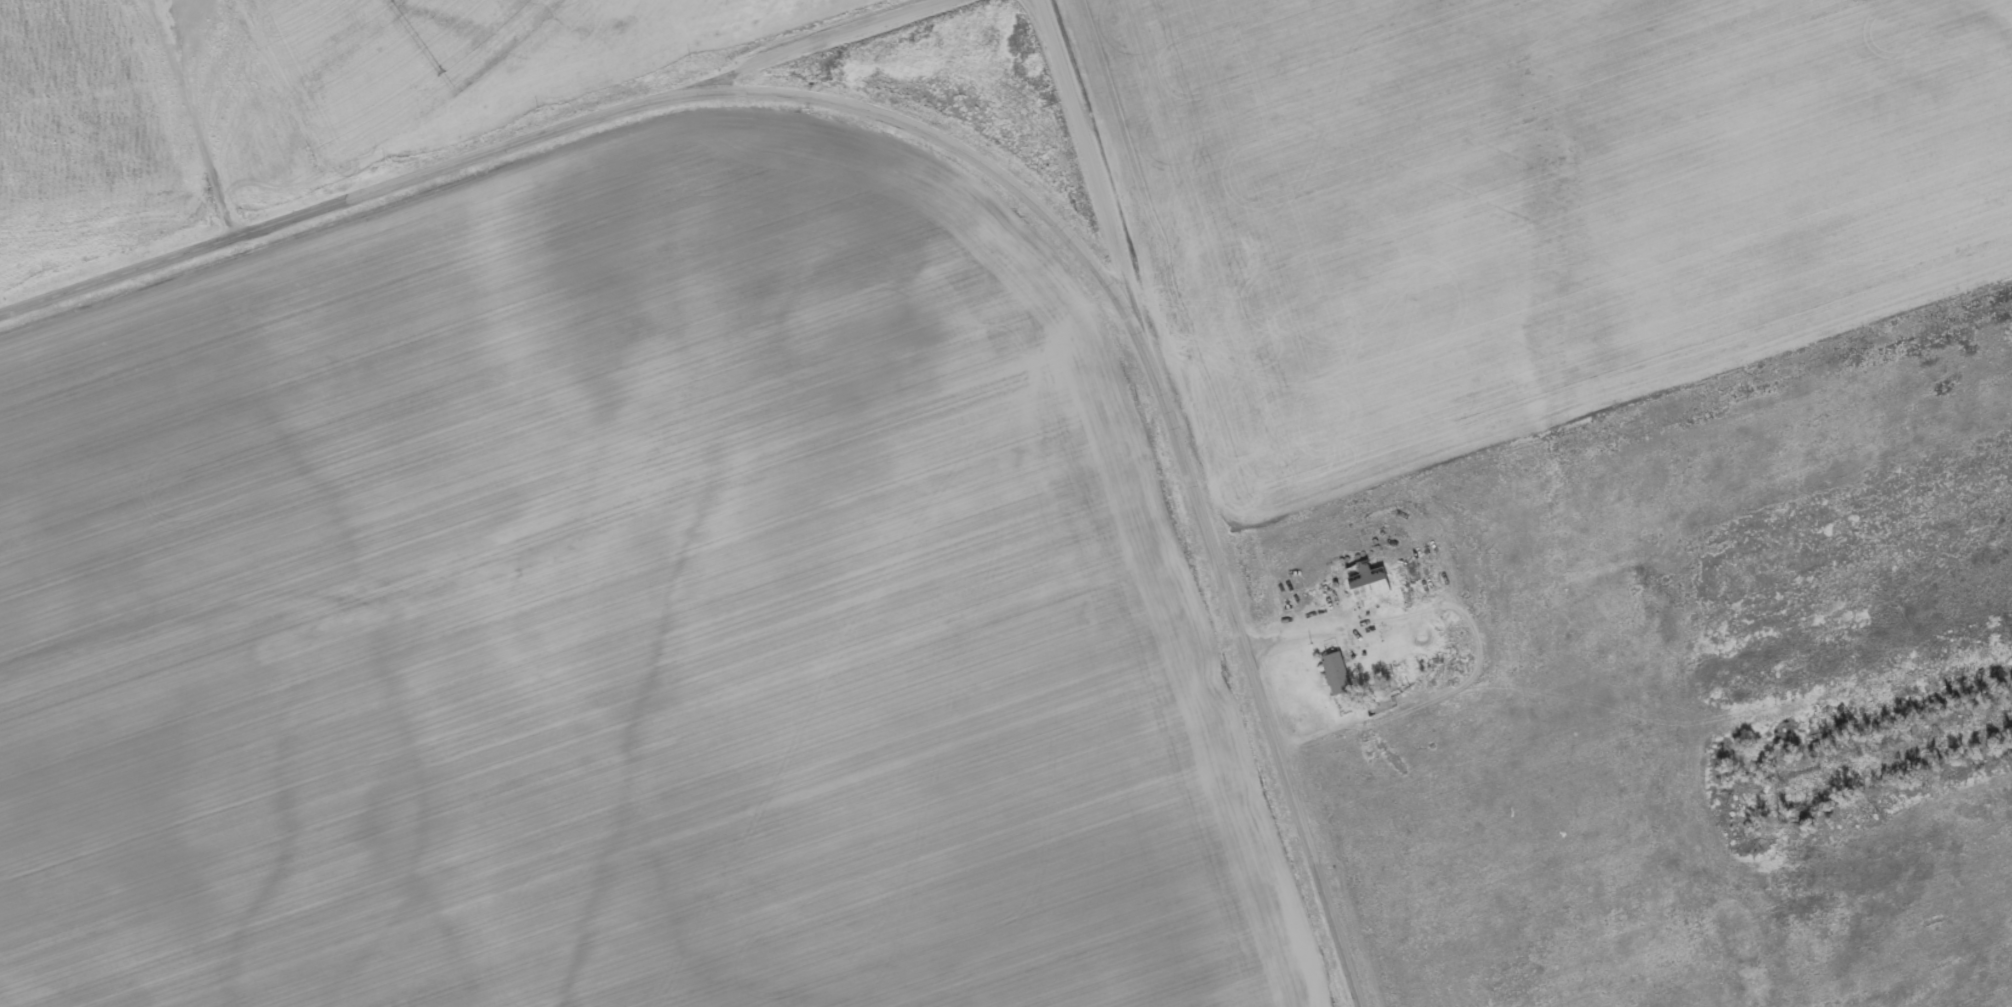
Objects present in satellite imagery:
road: (316, 97)
road: (942, 136)
road: (1083, 148)
building: (1365, 583)
building: (1332, 669)
road: (1687, 681)

